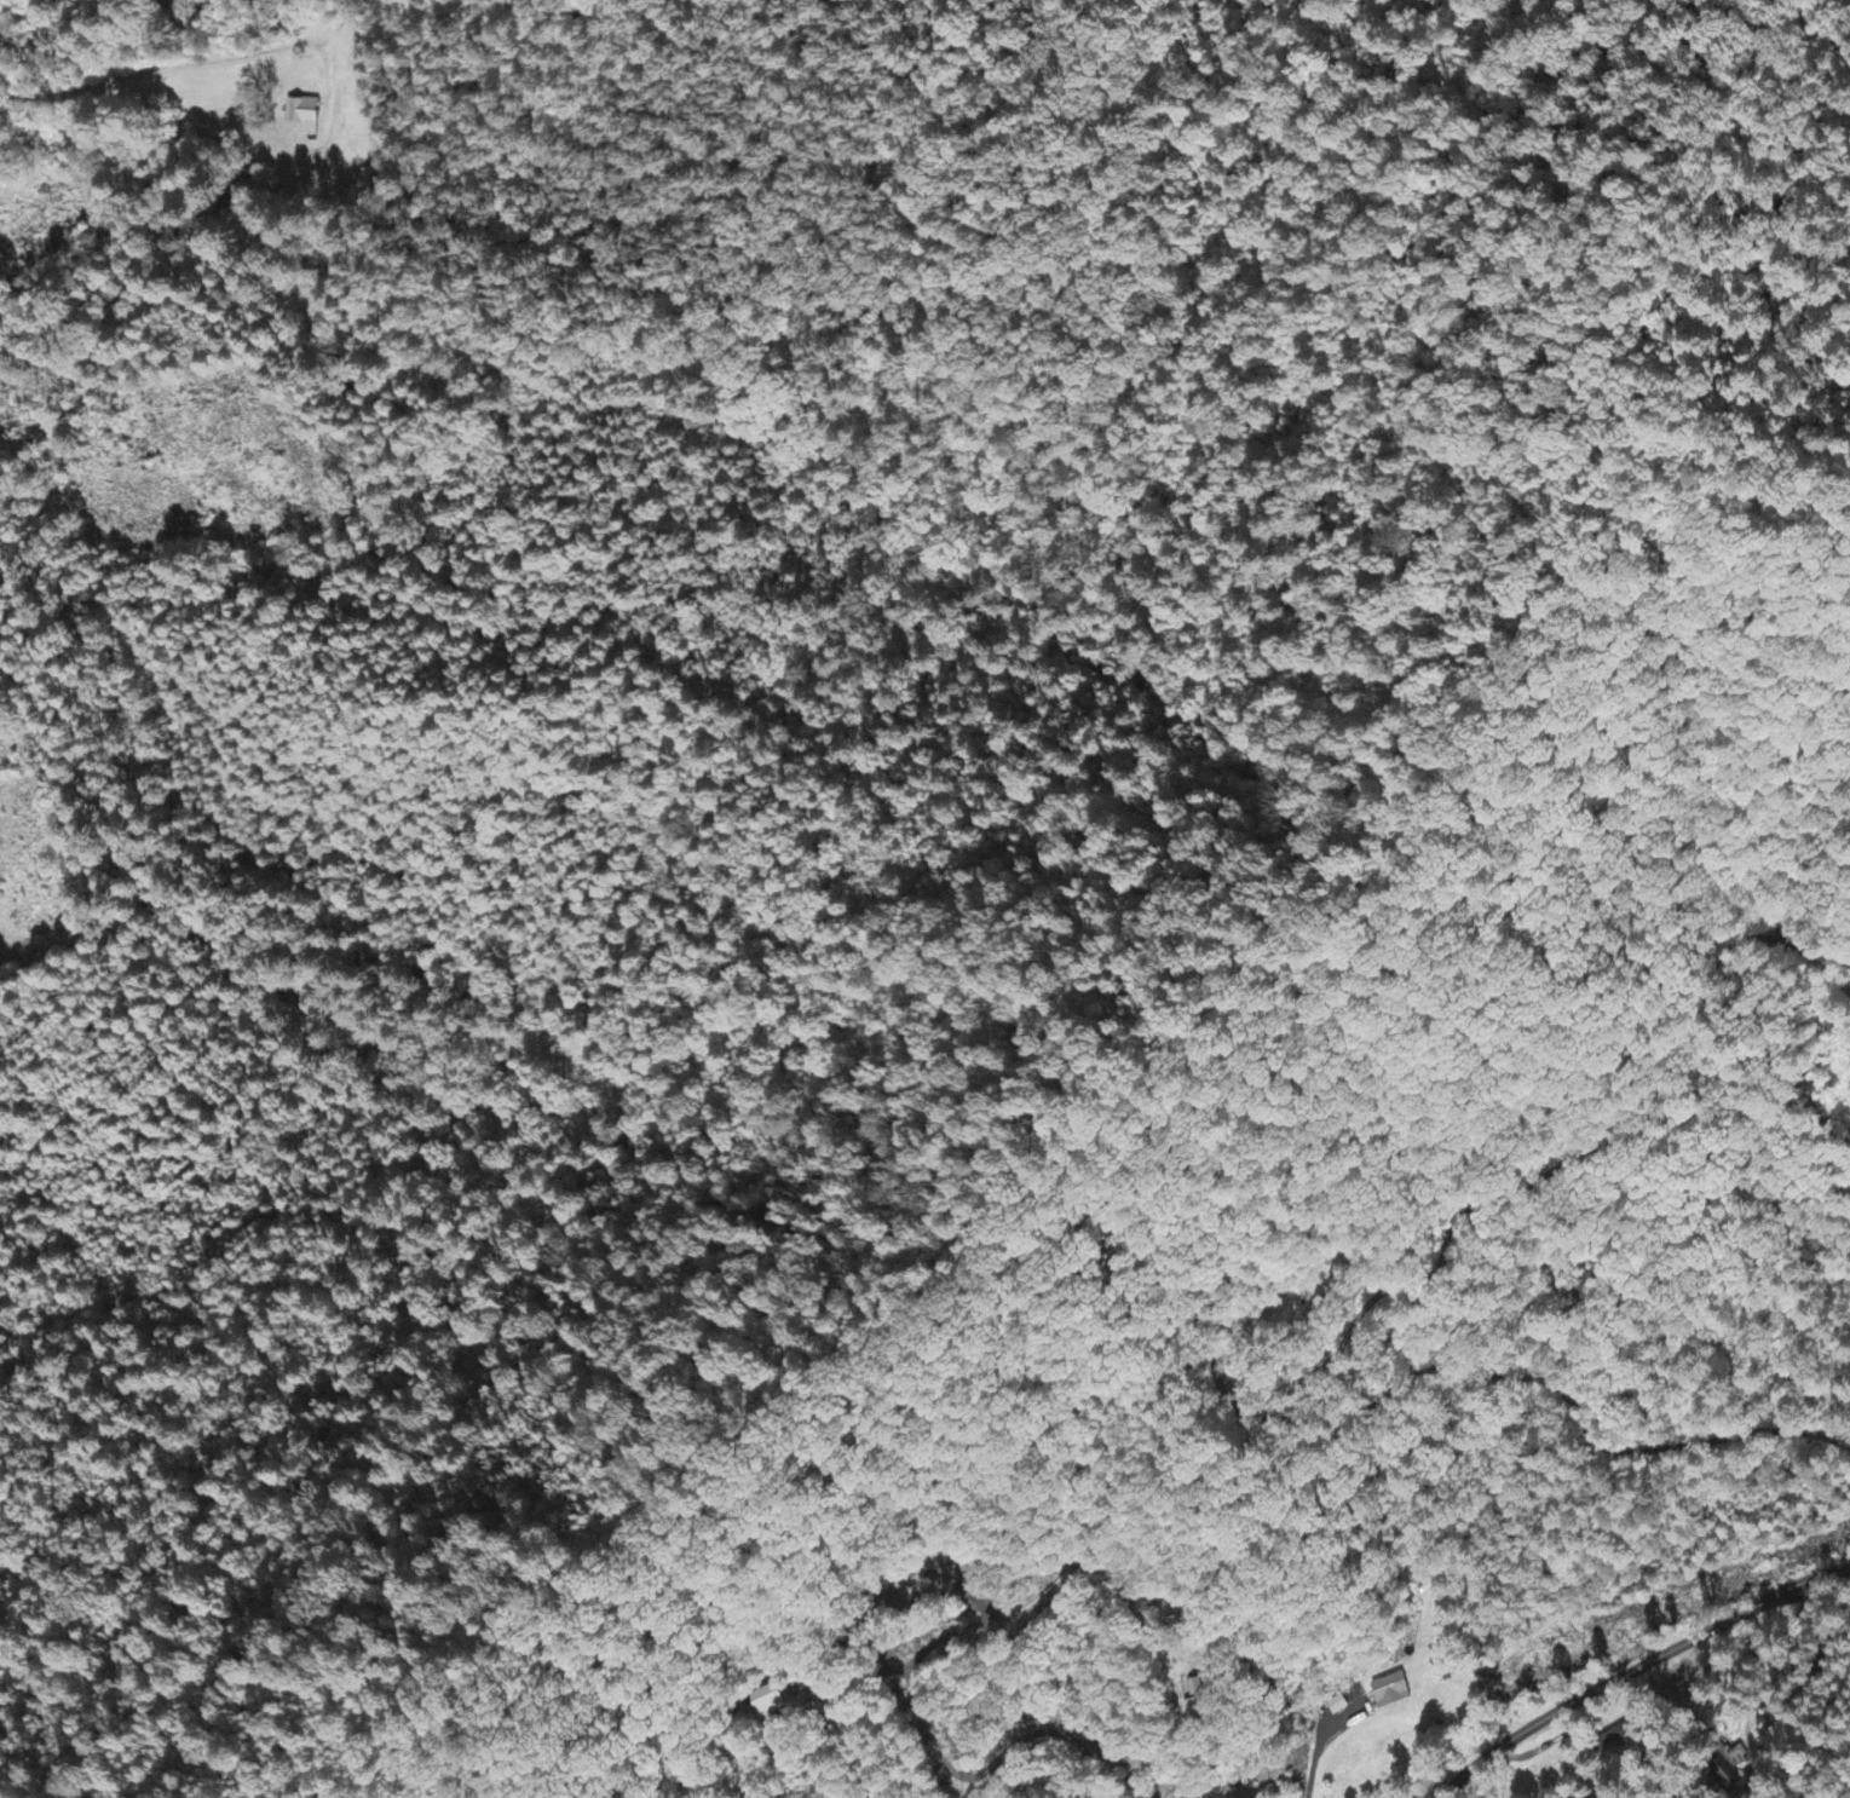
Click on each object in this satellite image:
building: (305, 116)
road: (1636, 1667)
road: (911, 1684)
road: (1804, 1689)
building: (1394, 1693)
building: (768, 1701)
building: (1197, 1701)

